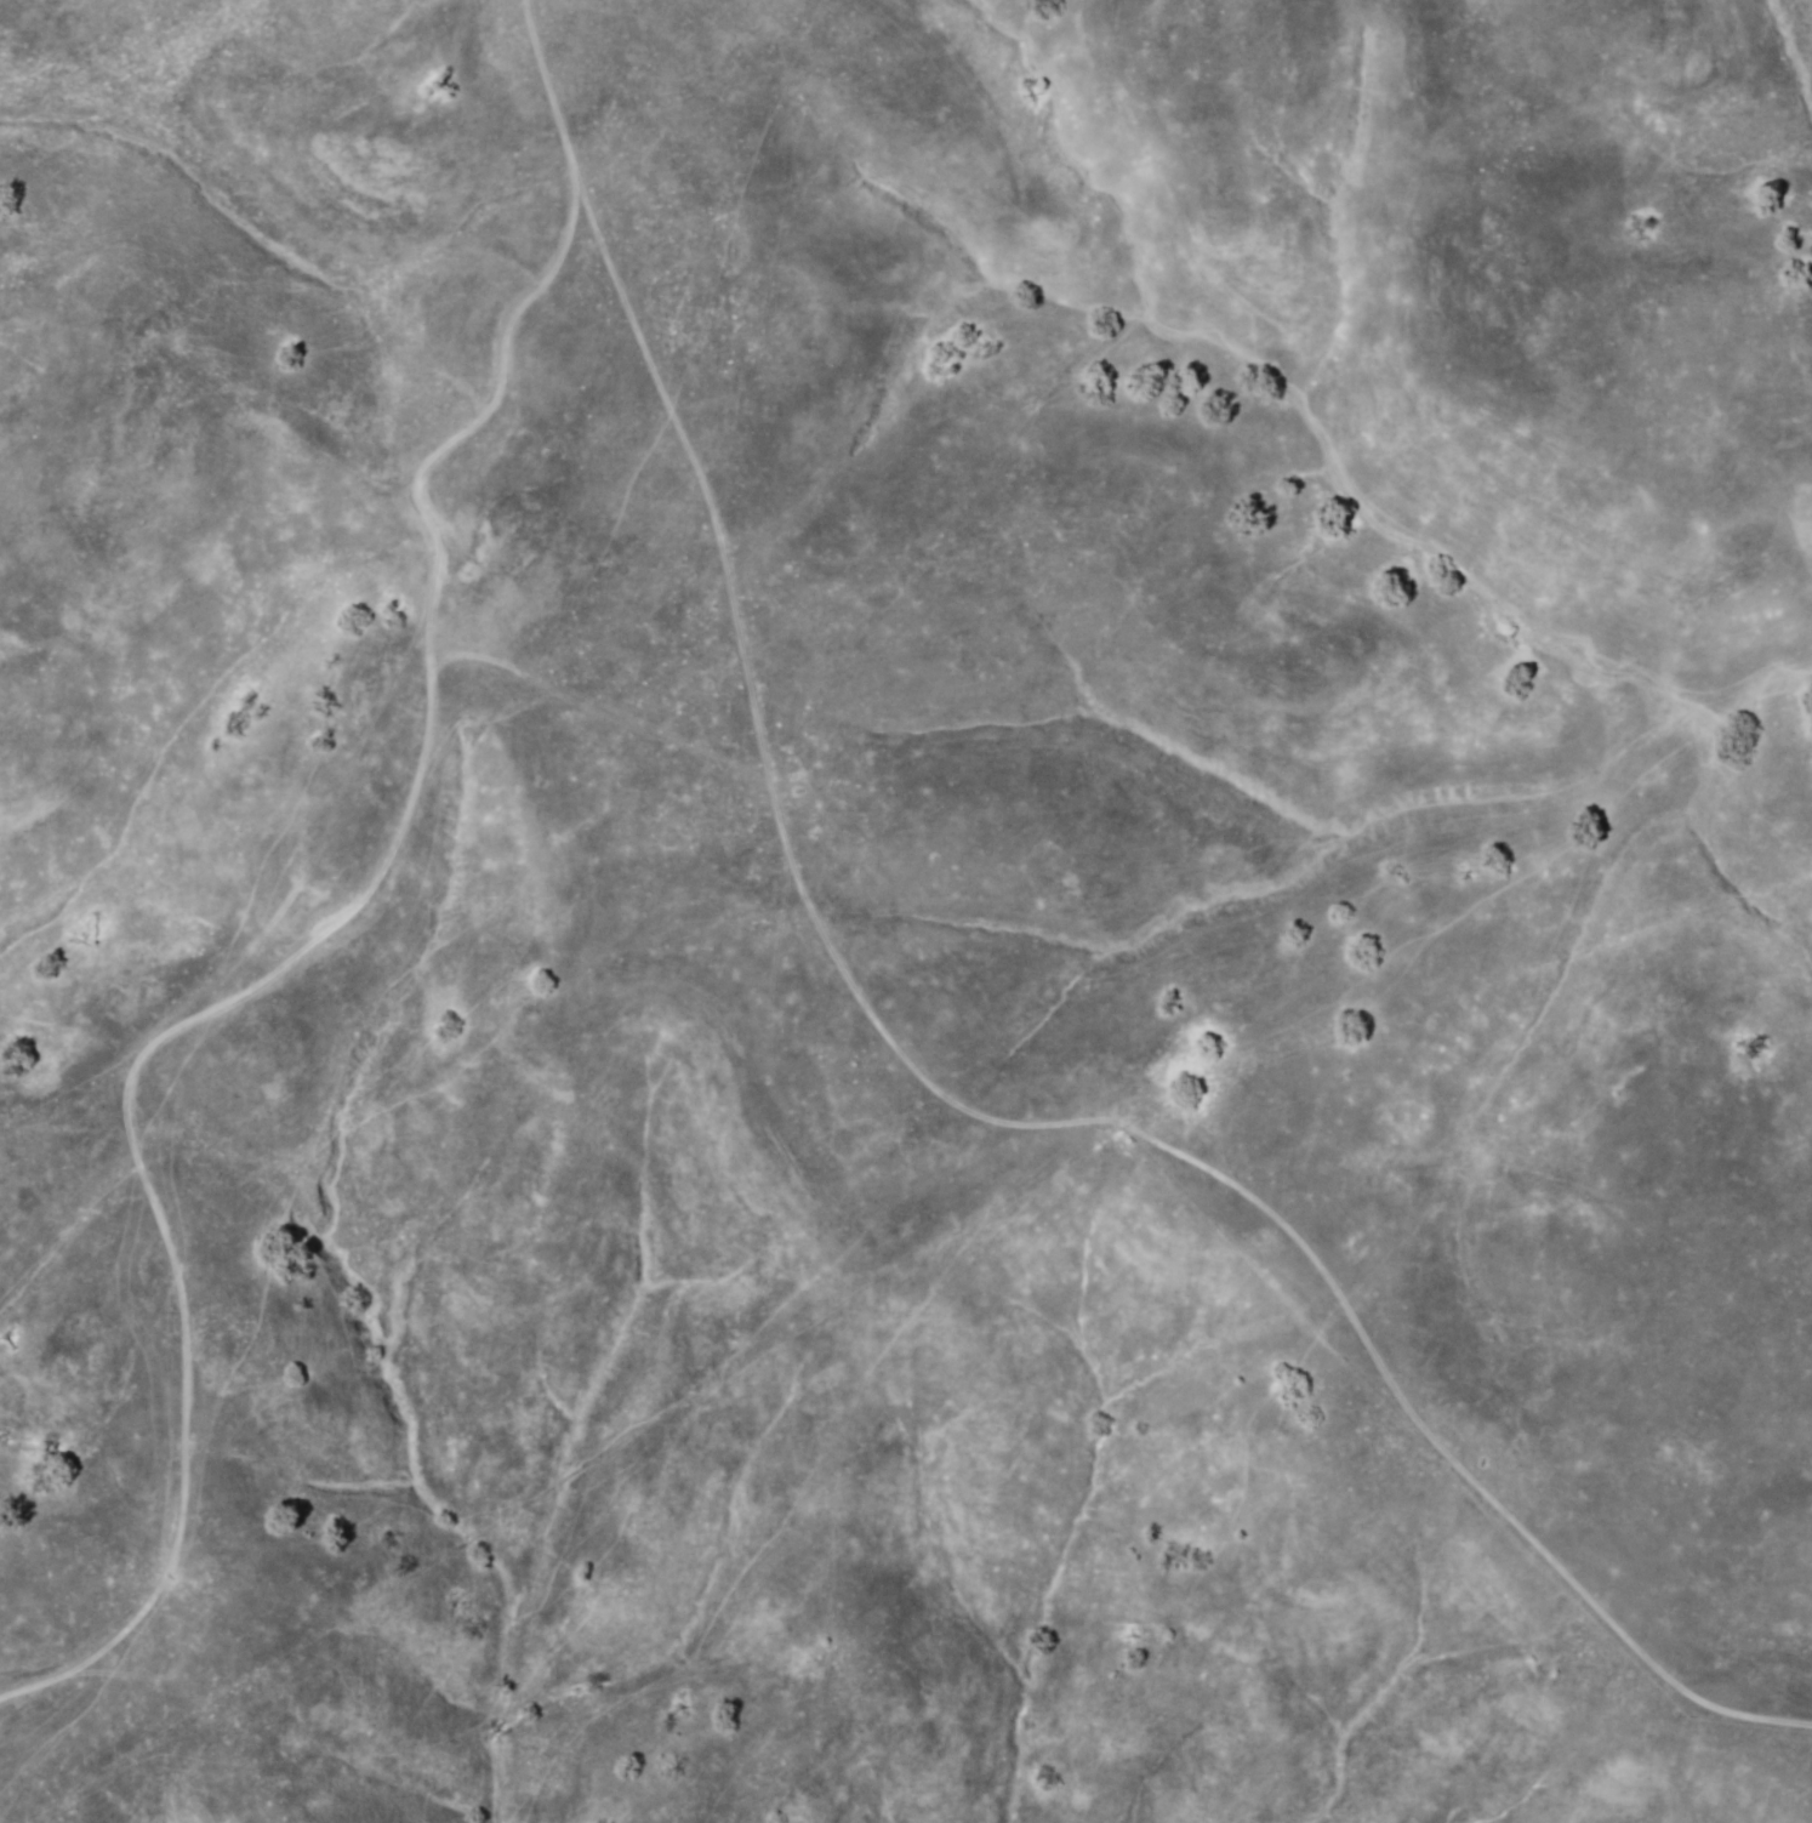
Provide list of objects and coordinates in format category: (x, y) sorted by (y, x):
road: (343, 904)
road: (997, 1123)

